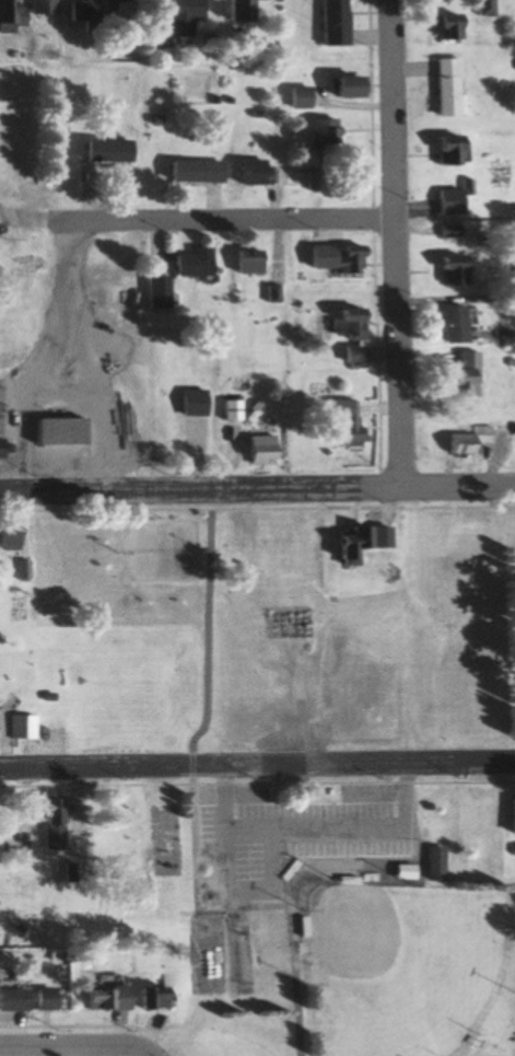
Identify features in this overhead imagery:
building: (113, 5)
building: (39, 8)
building: (479, 8)
building: (230, 10)
building: (8, 11)
building: (78, 11)
building: (178, 18)
building: (327, 22)
building: (442, 25)
building: (514, 67)
building: (343, 86)
building: (440, 88)
building: (295, 96)
building: (315, 134)
building: (105, 150)
building: (444, 150)
building: (191, 171)
building: (245, 171)
building: (313, 181)
building: (448, 199)
road: (197, 219)
building: (443, 232)
road: (395, 245)
building: (339, 256)
building: (188, 262)
building: (244, 263)
building: (446, 270)
building: (152, 293)
building: (446, 324)
building: (343, 333)
building: (456, 375)
building: (189, 403)
building: (229, 410)
building: (335, 421)
building: (51, 431)
building: (460, 441)
building: (0, 449)
building: (254, 451)
road: (257, 490)
building: (8, 537)
building: (342, 545)
building: (376, 555)
building: (21, 569)
building: (20, 727)
road: (257, 765)
road: (405, 773)
road: (195, 776)
building: (510, 815)
building: (49, 824)
parking lot: (288, 838)
building: (432, 863)
park: (328, 909)
park: (409, 975)
building: (103, 998)
building: (148, 998)
building: (10, 999)
building: (42, 999)
road: (81, 1037)

